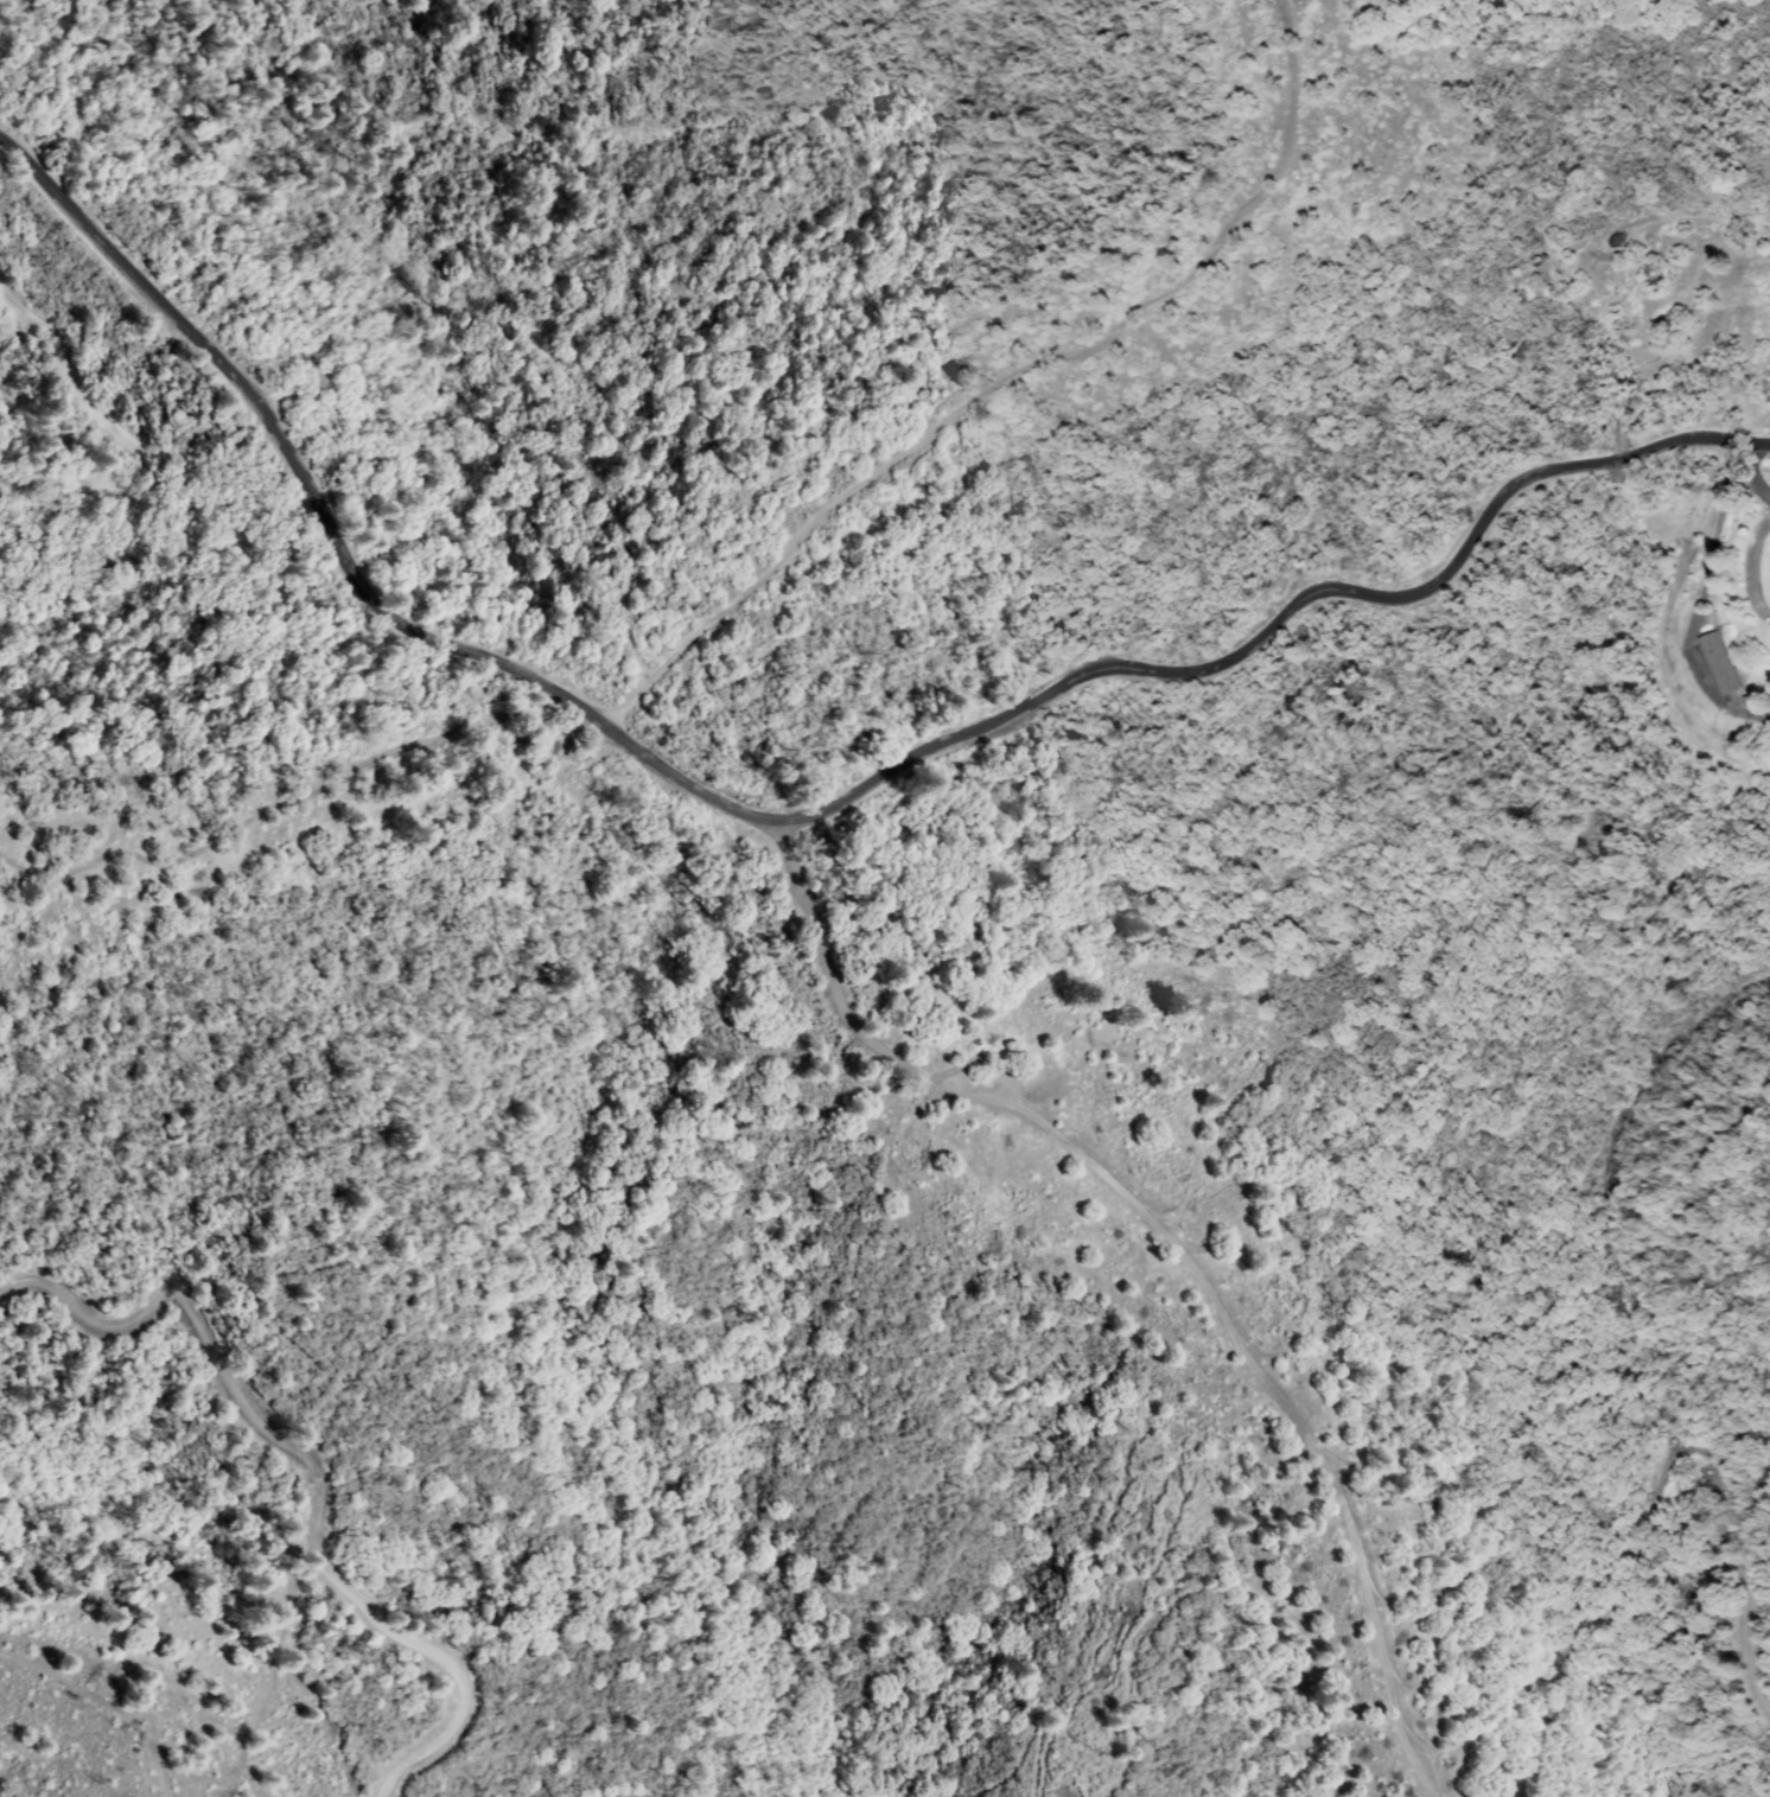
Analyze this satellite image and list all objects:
road: (141, 438)
road: (769, 578)
building: (1721, 664)
road: (809, 829)
road: (1164, 1254)
road: (300, 1455)
road: (1656, 1492)
road: (87, 1720)

